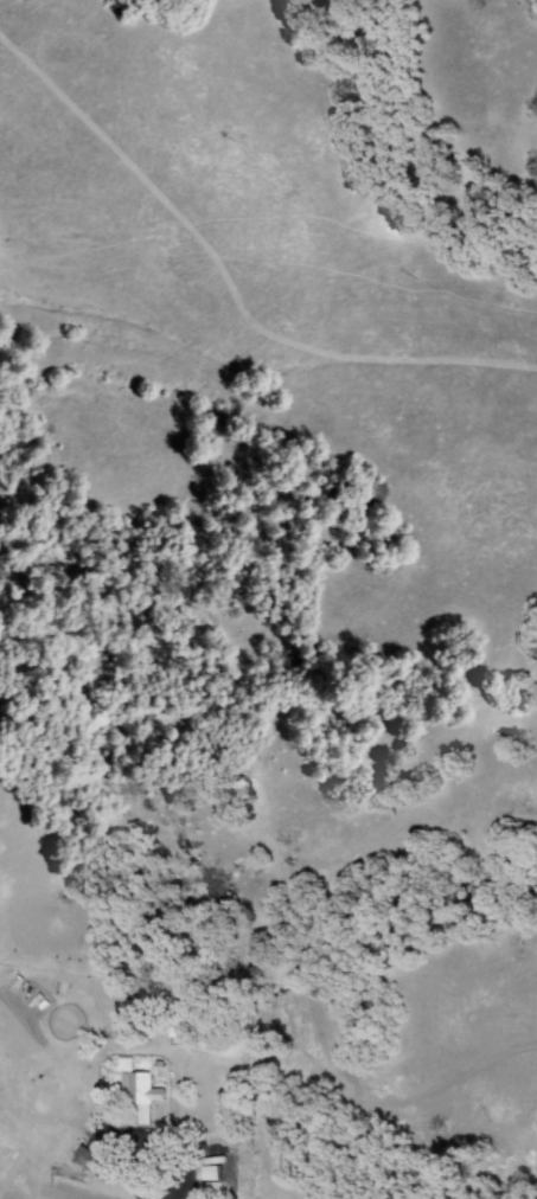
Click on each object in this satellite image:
building: (180, 1032)
building: (142, 1096)
building: (89, 1161)
road: (147, 1169)

